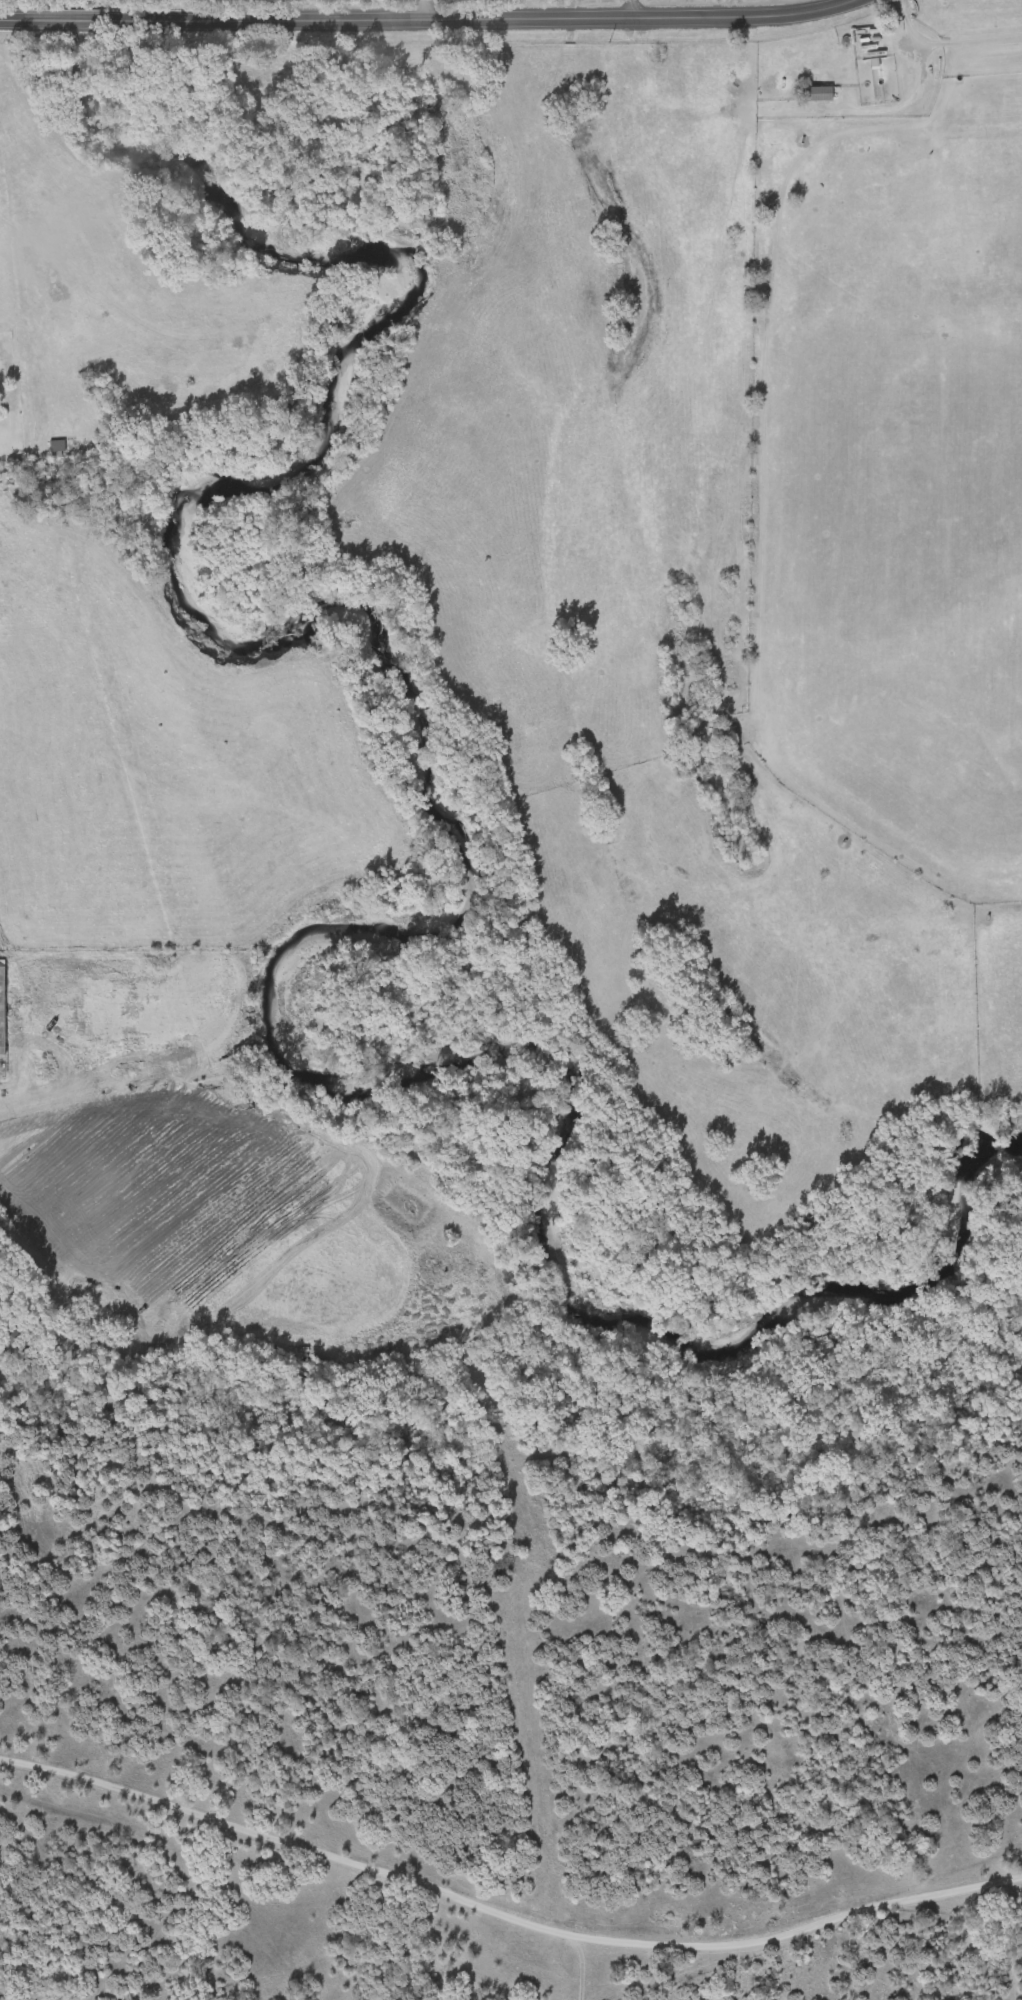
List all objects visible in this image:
road: (631, 9)
road: (6, 15)
road: (64, 15)
road: (481, 18)
road: (950, 38)
building: (810, 92)
road: (912, 94)
river: (458, 872)
road: (39, 1267)
road: (294, 1862)
road: (806, 1934)

